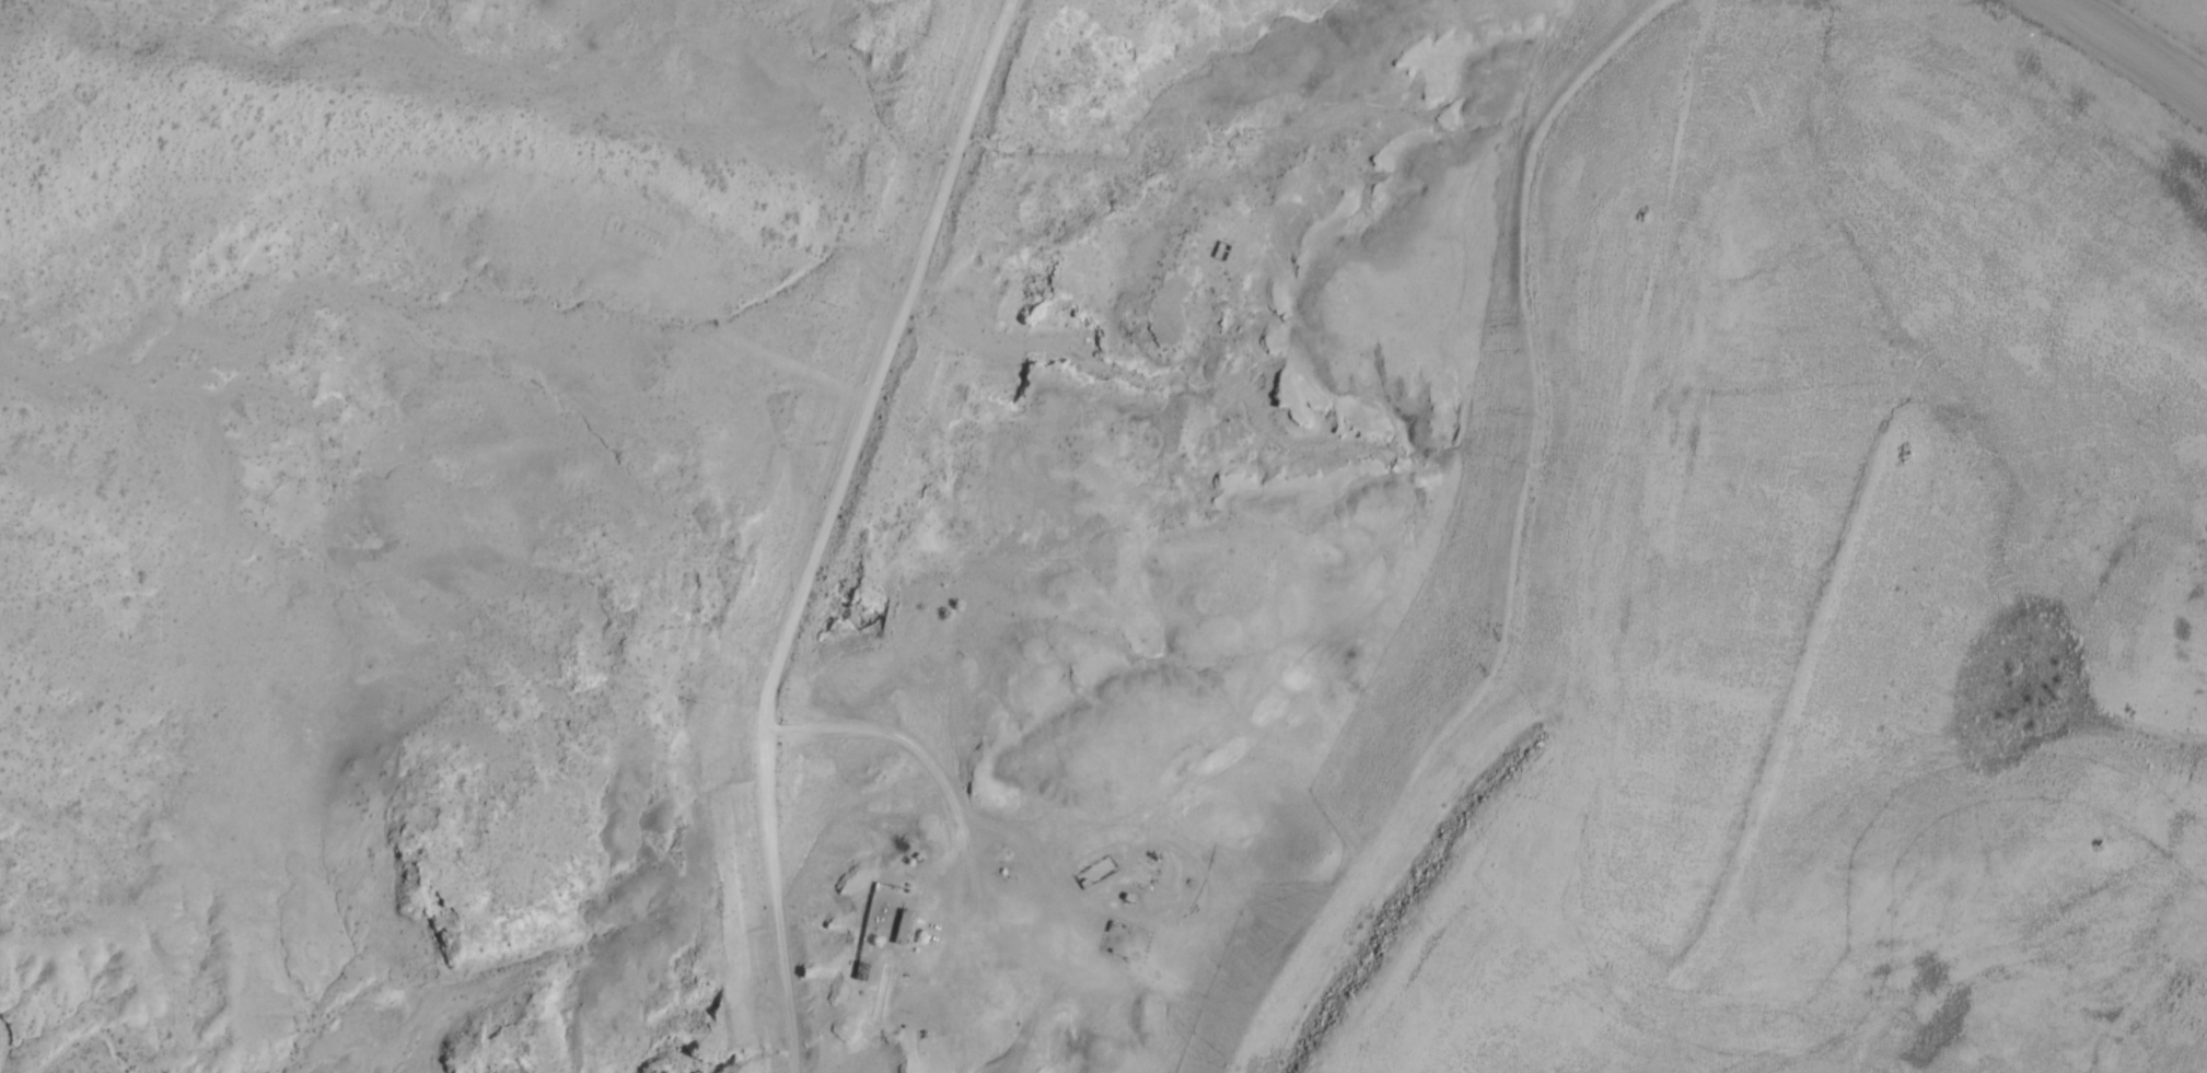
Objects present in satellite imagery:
road: (2058, 106)
road: (863, 529)
building: (906, 928)

